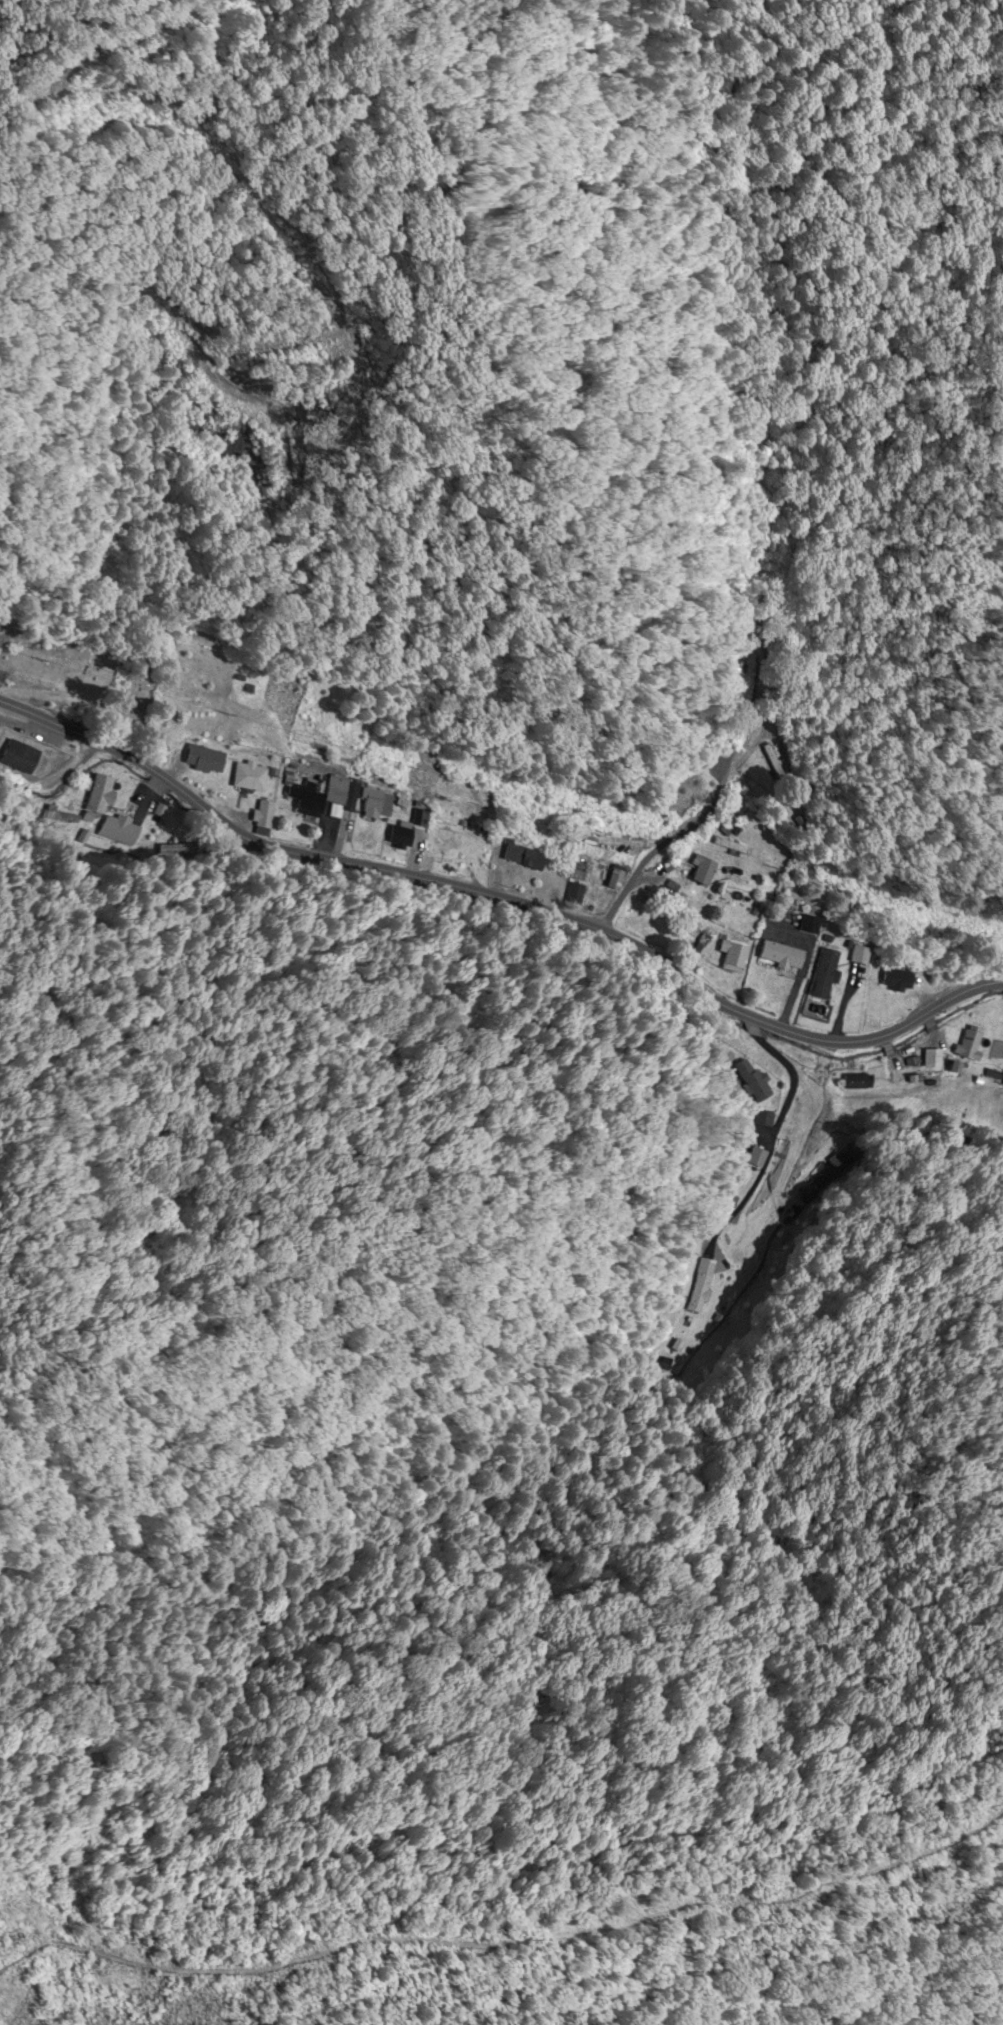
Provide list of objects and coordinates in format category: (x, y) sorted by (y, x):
road: (471, 447)
building: (723, 678)
building: (16, 758)
building: (201, 760)
building: (247, 778)
building: (679, 790)
building: (95, 795)
building: (321, 799)
building: (372, 805)
building: (260, 816)
building: (113, 828)
building: (394, 838)
building: (445, 843)
building: (727, 847)
building: (521, 859)
building: (697, 872)
building: (571, 897)
road: (500, 901)
building: (806, 926)
building: (729, 956)
building: (777, 956)
building: (859, 956)
building: (821, 974)
building: (894, 980)
building: (969, 1044)
building: (932, 1059)
building: (741, 1080)
road: (765, 1140)
building: (747, 1158)
quarry: (3, 1976)

